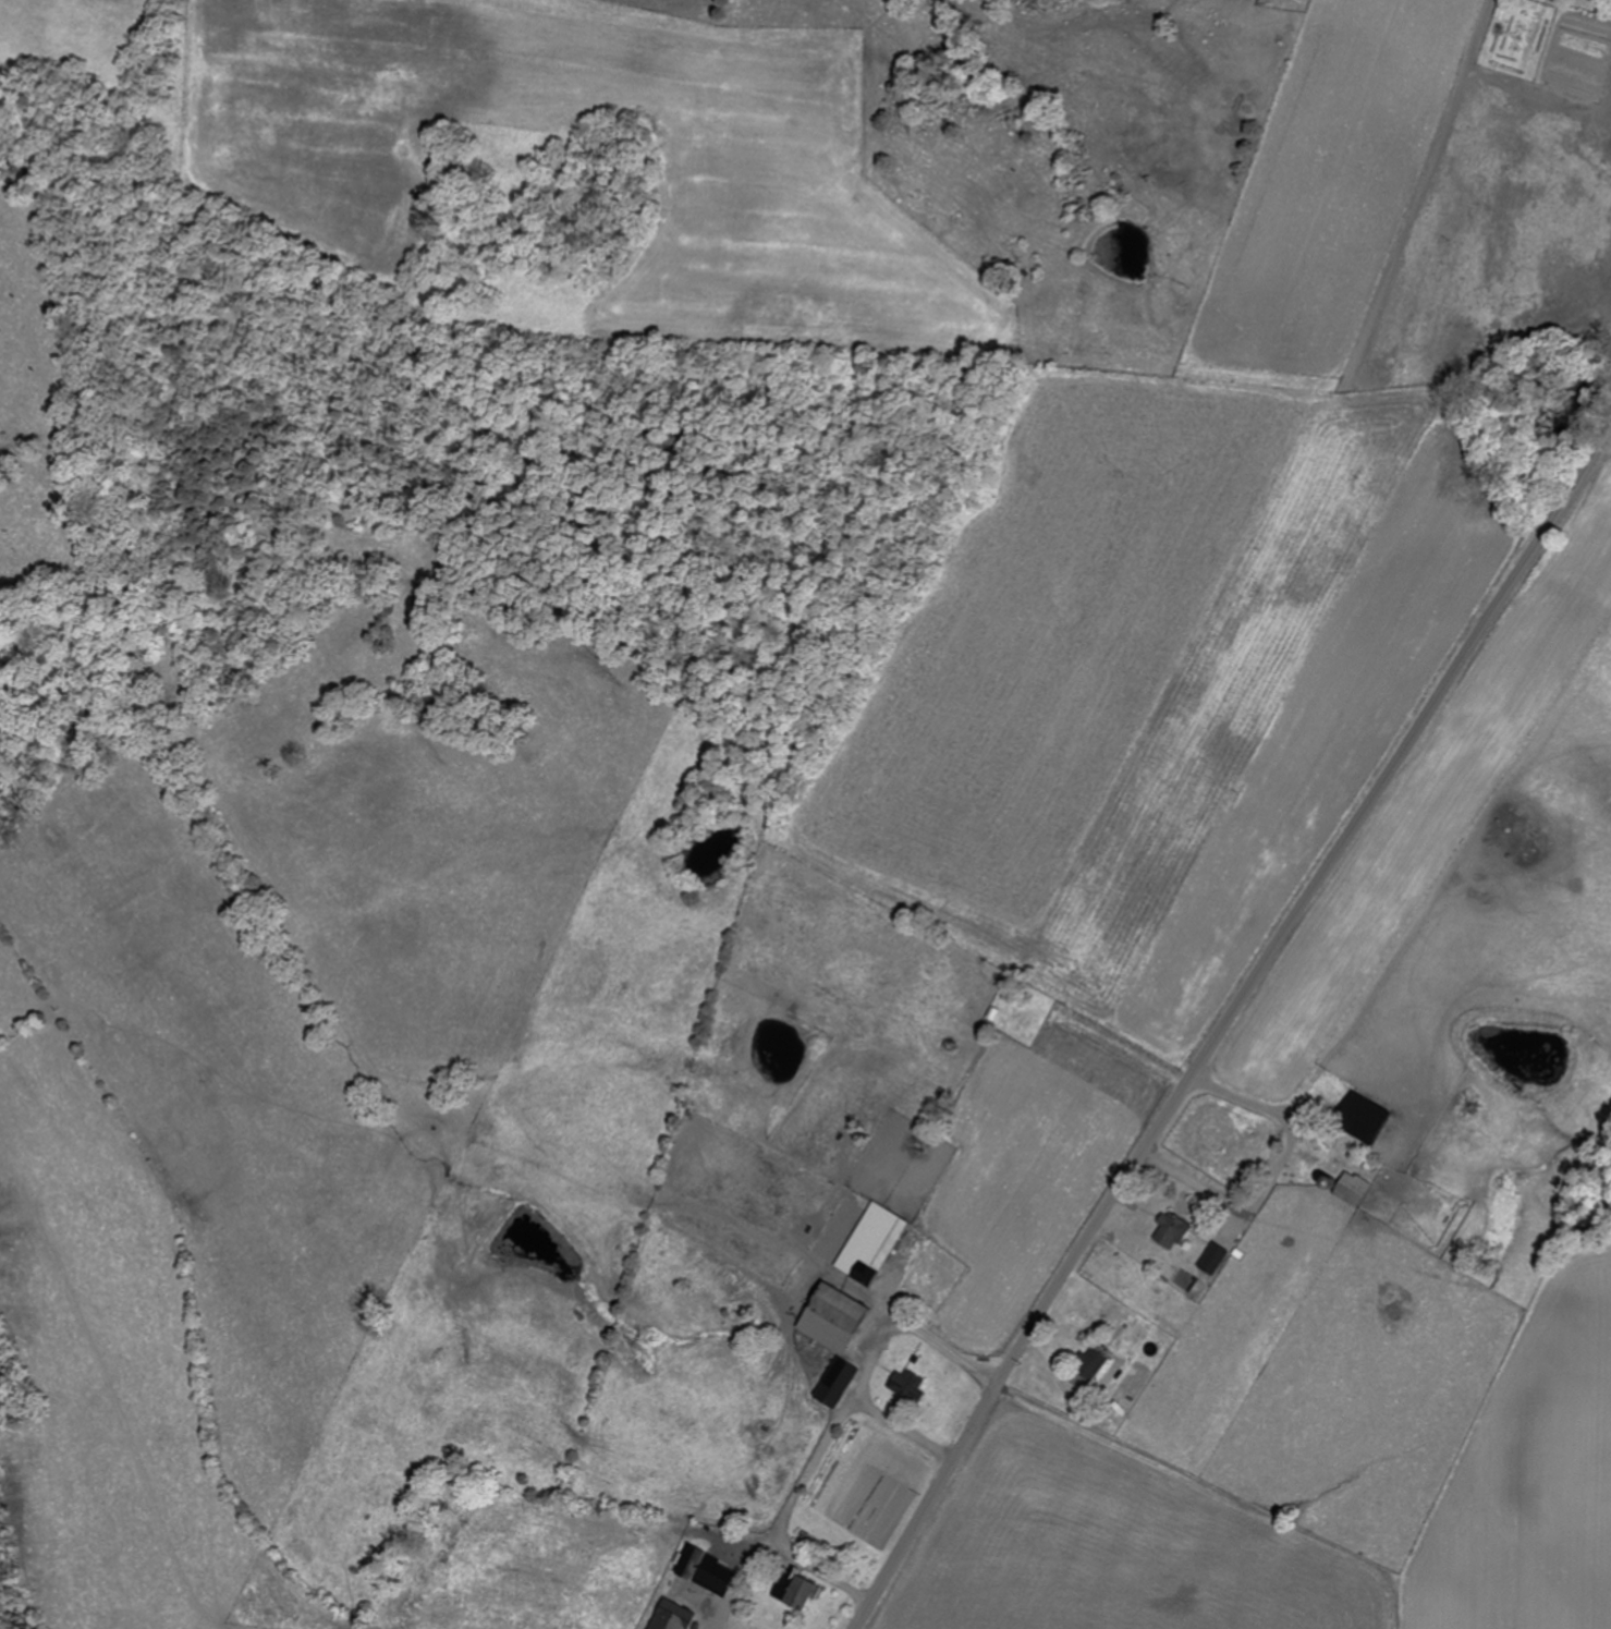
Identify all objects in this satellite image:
road: (1087, 703)
road: (1226, 1020)
building: (1366, 1118)
building: (1354, 1190)
building: (1173, 1231)
building: (883, 1250)
building: (1216, 1259)
building: (844, 1312)
building: (1093, 1364)
building: (840, 1383)
building: (911, 1386)
building: (695, 1563)
building: (801, 1590)

